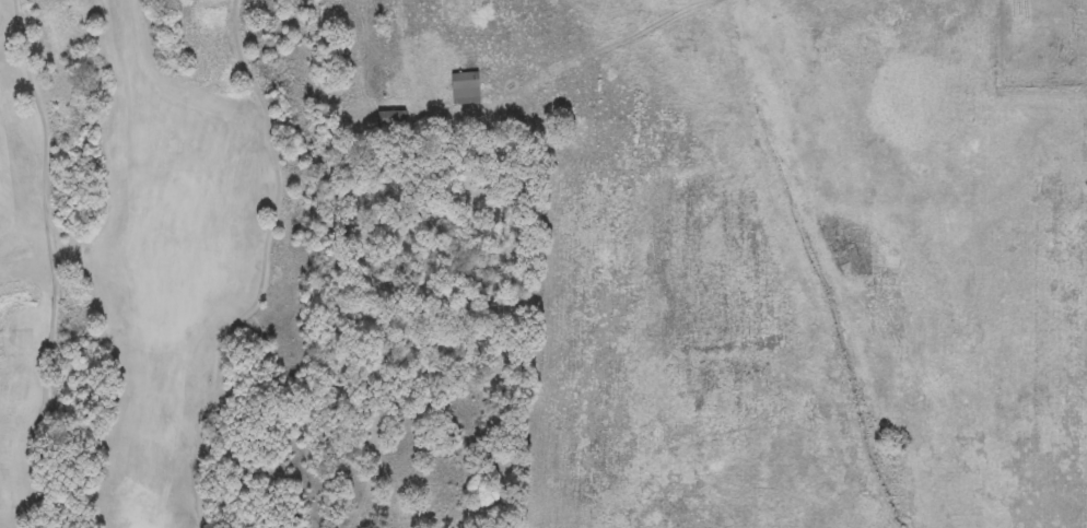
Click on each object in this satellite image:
building: (466, 89)
park: (153, 266)

